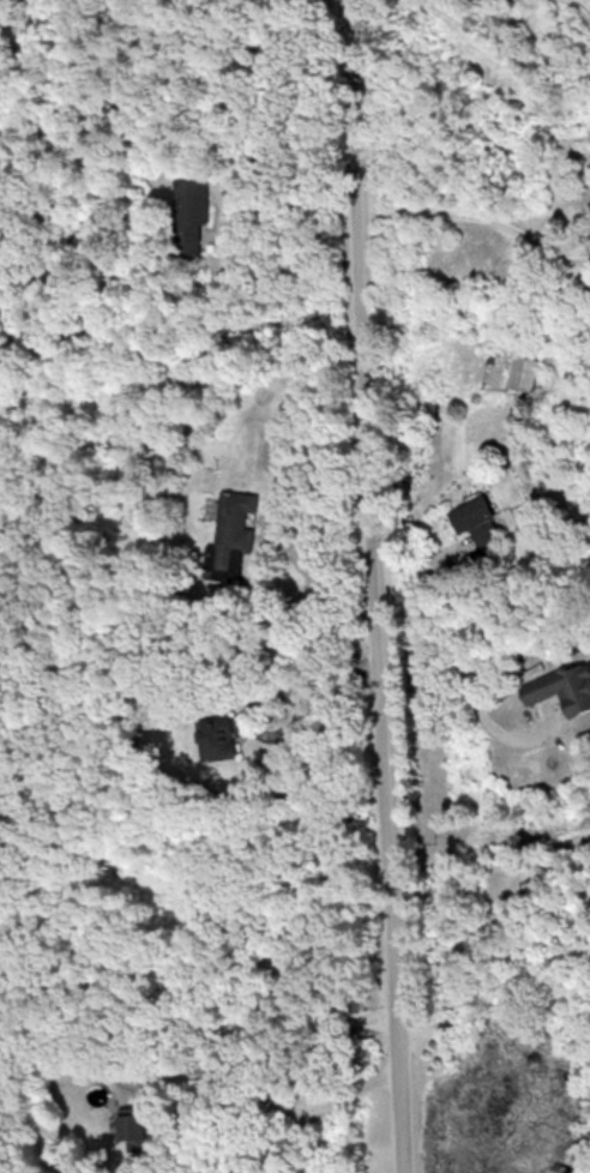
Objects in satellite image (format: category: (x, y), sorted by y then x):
building: (193, 211)
road: (481, 211)
building: (526, 372)
building: (476, 513)
building: (233, 527)
road: (378, 586)
building: (564, 687)
road: (471, 693)
road: (266, 697)
building: (218, 735)
road: (465, 932)
road: (197, 1024)
road: (275, 1099)
building: (136, 1126)

